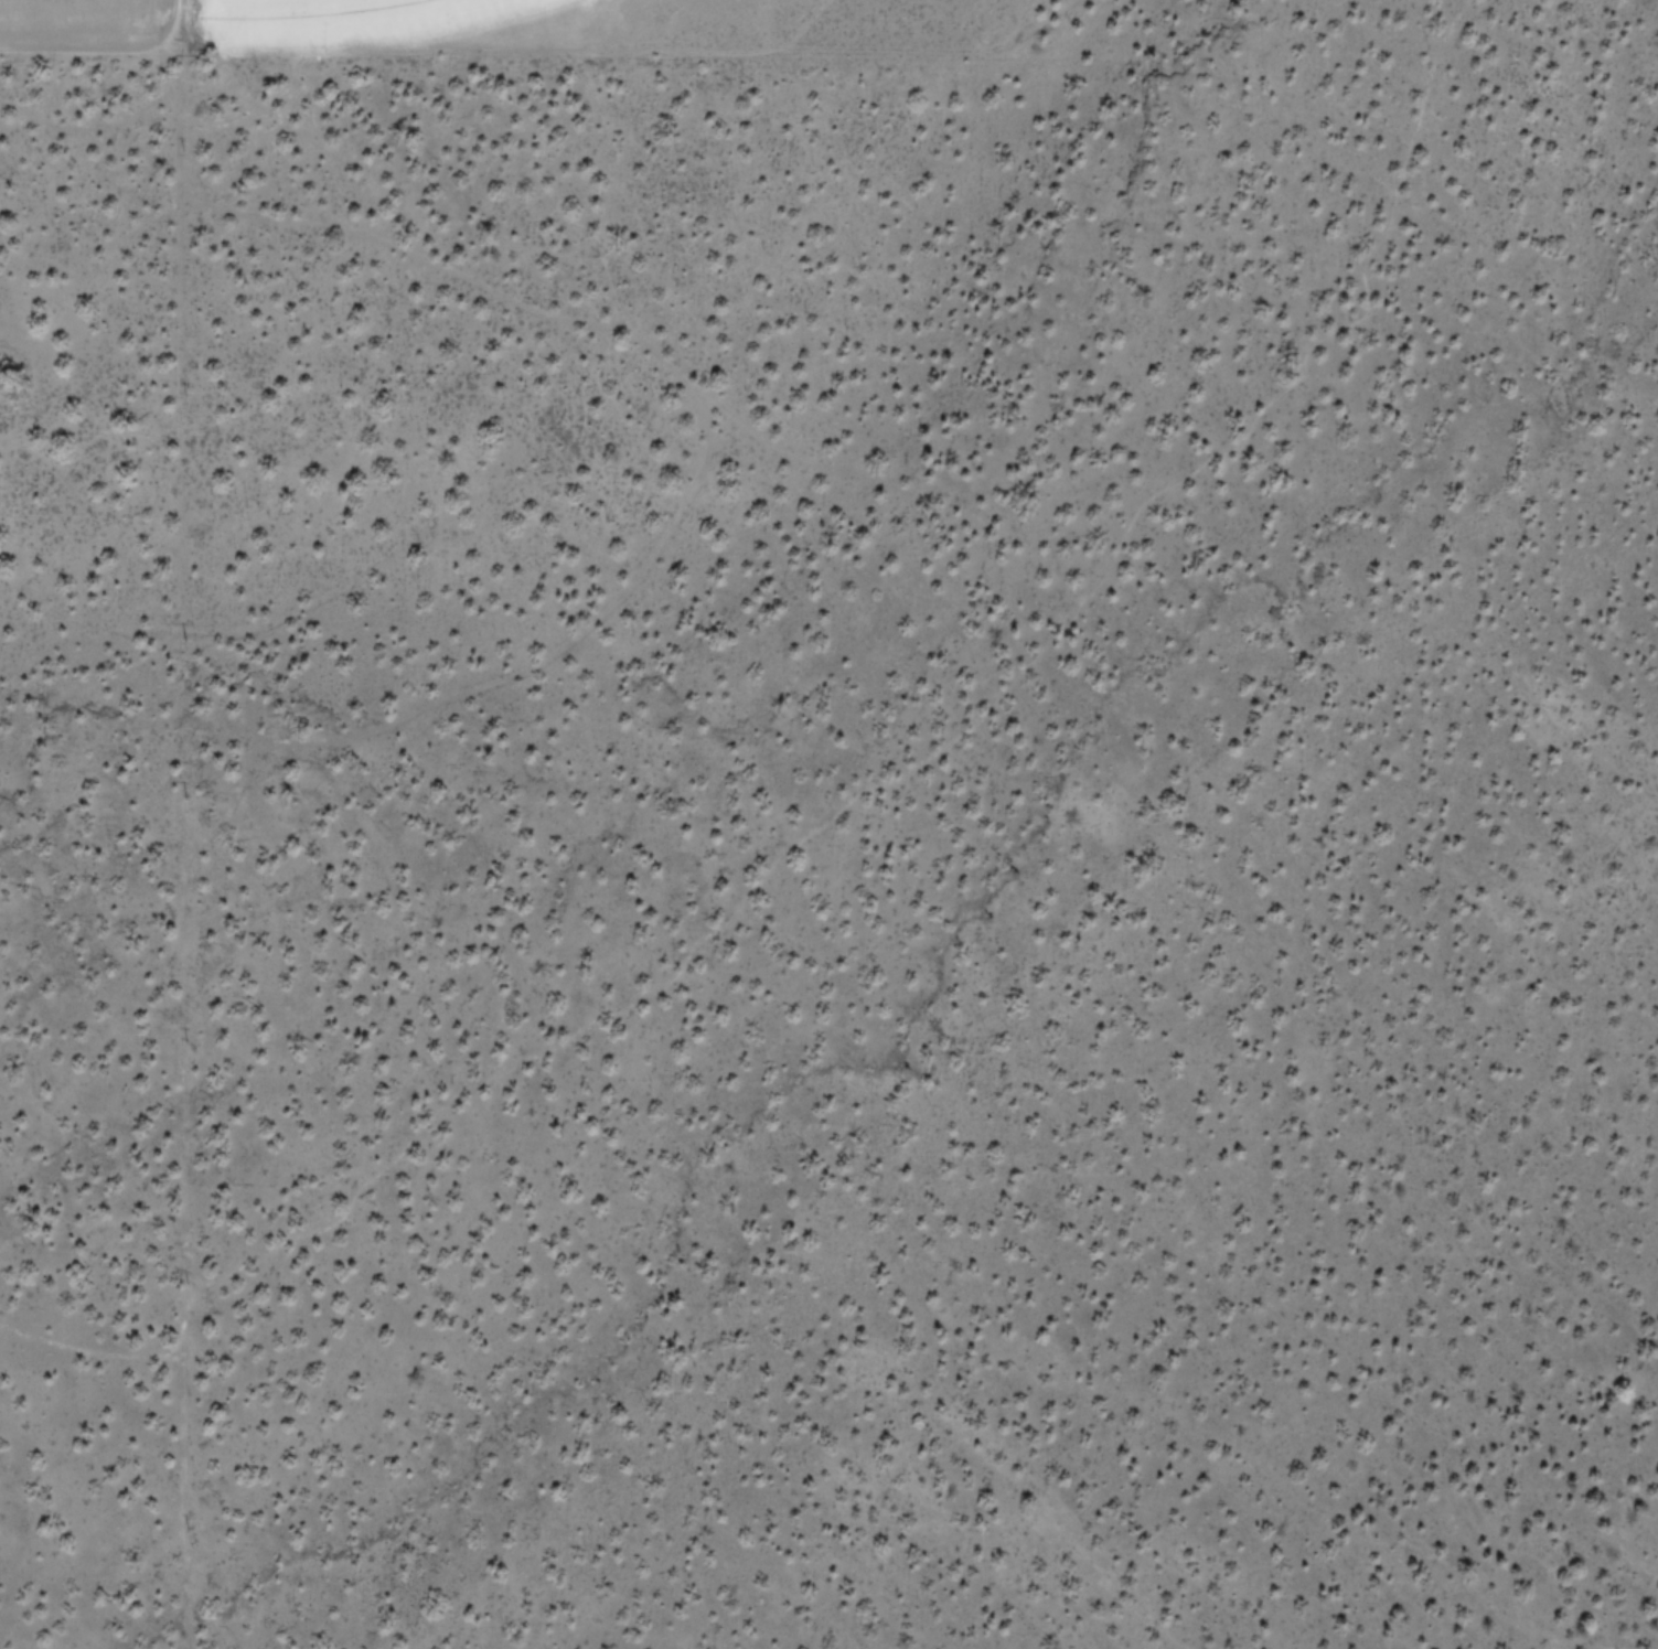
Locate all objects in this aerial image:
crop: (385, 25)

